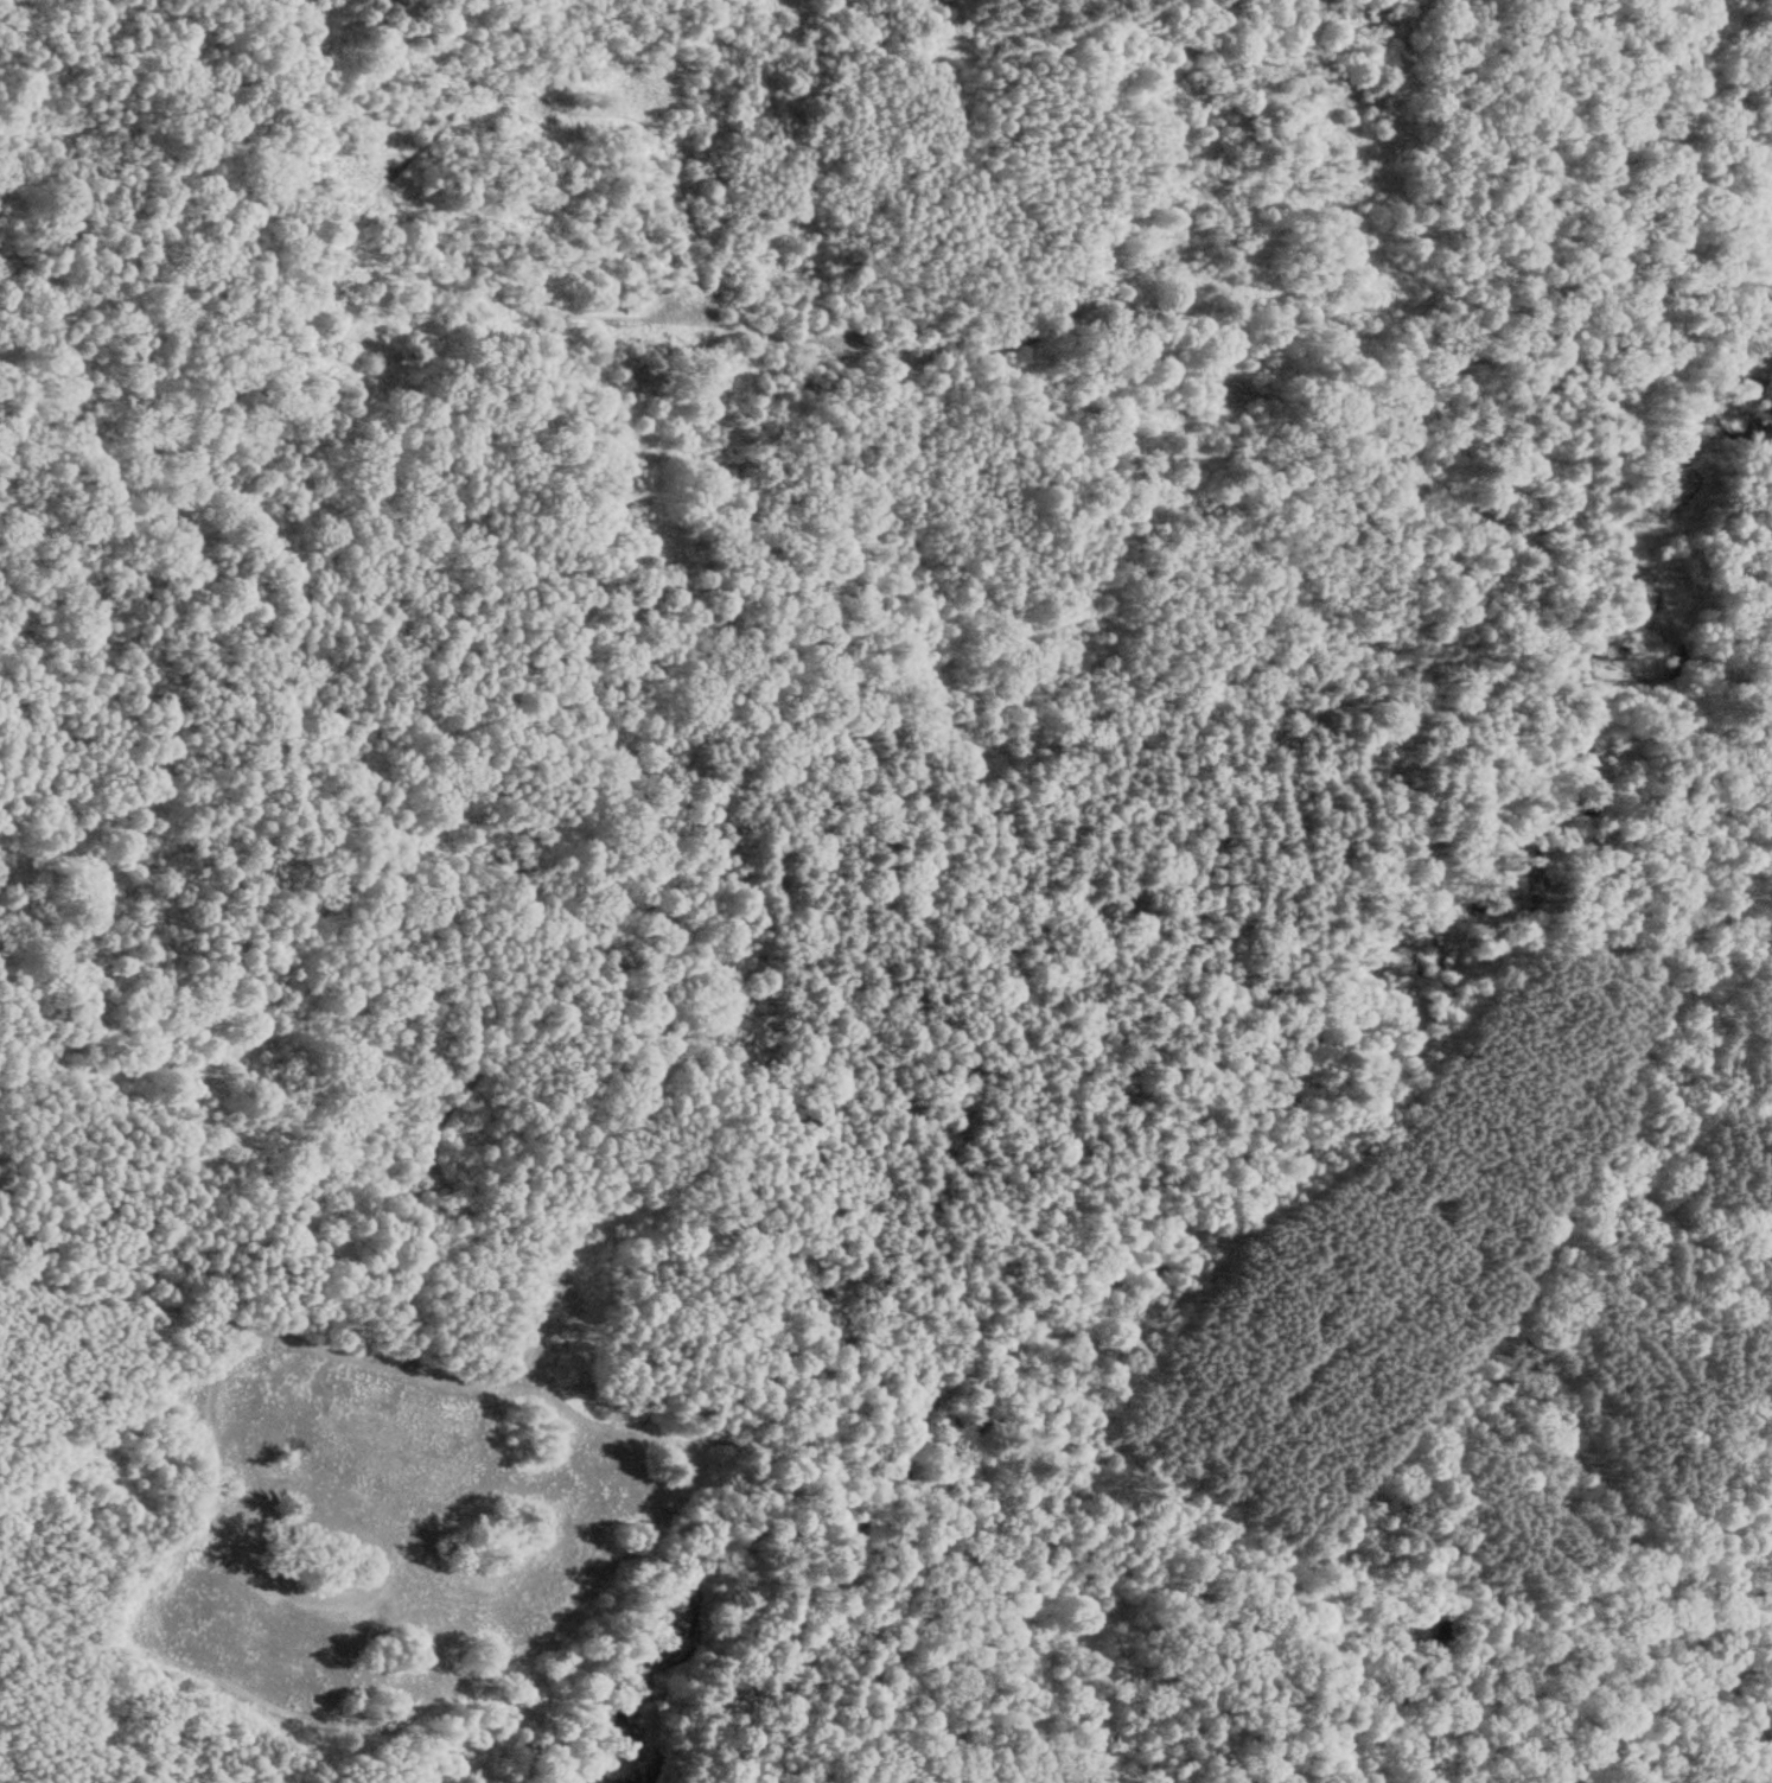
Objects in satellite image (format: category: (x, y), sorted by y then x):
road: (608, 121)
road: (125, 133)
road: (438, 284)
road: (905, 540)
road: (790, 929)
road: (1504, 1308)
road: (1020, 1402)
road: (1290, 1561)
road: (1261, 1603)
road: (1765, 1724)

